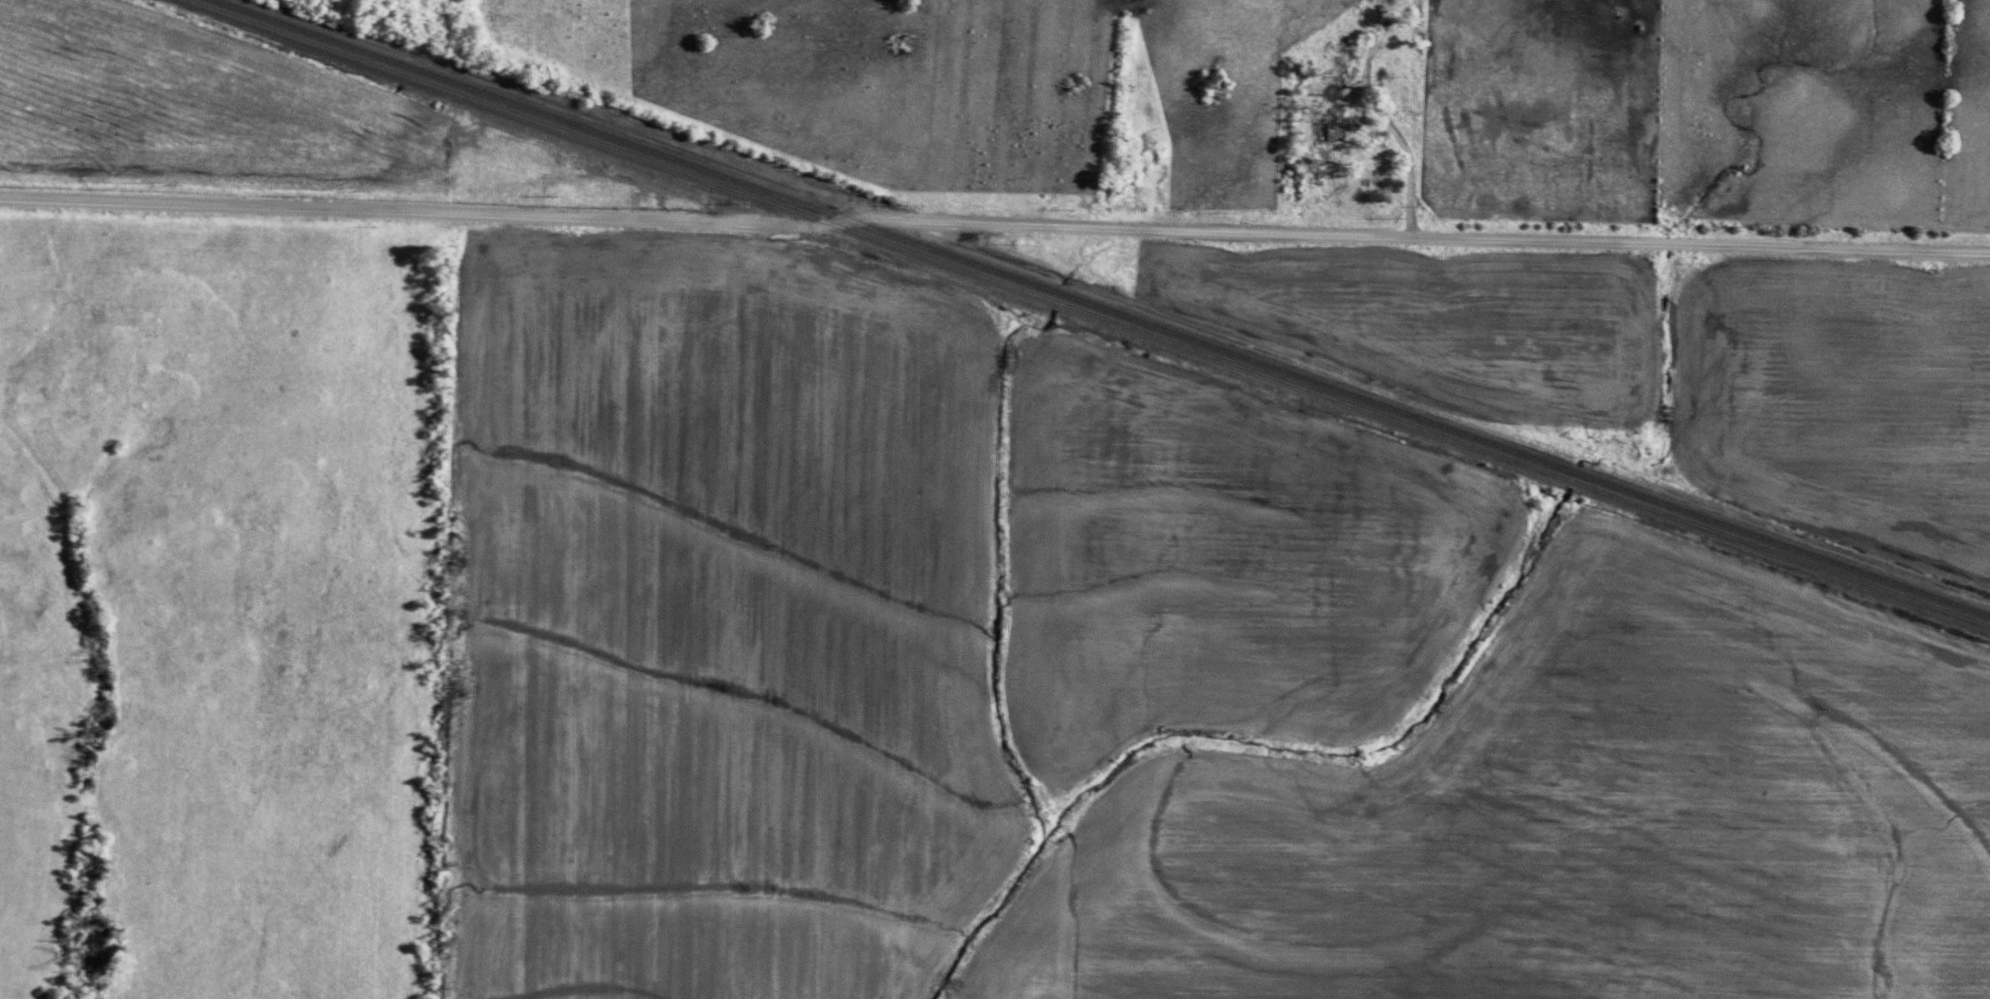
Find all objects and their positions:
road: (1403, 174)
road: (994, 225)
railway: (1102, 308)
railway: (1086, 315)

